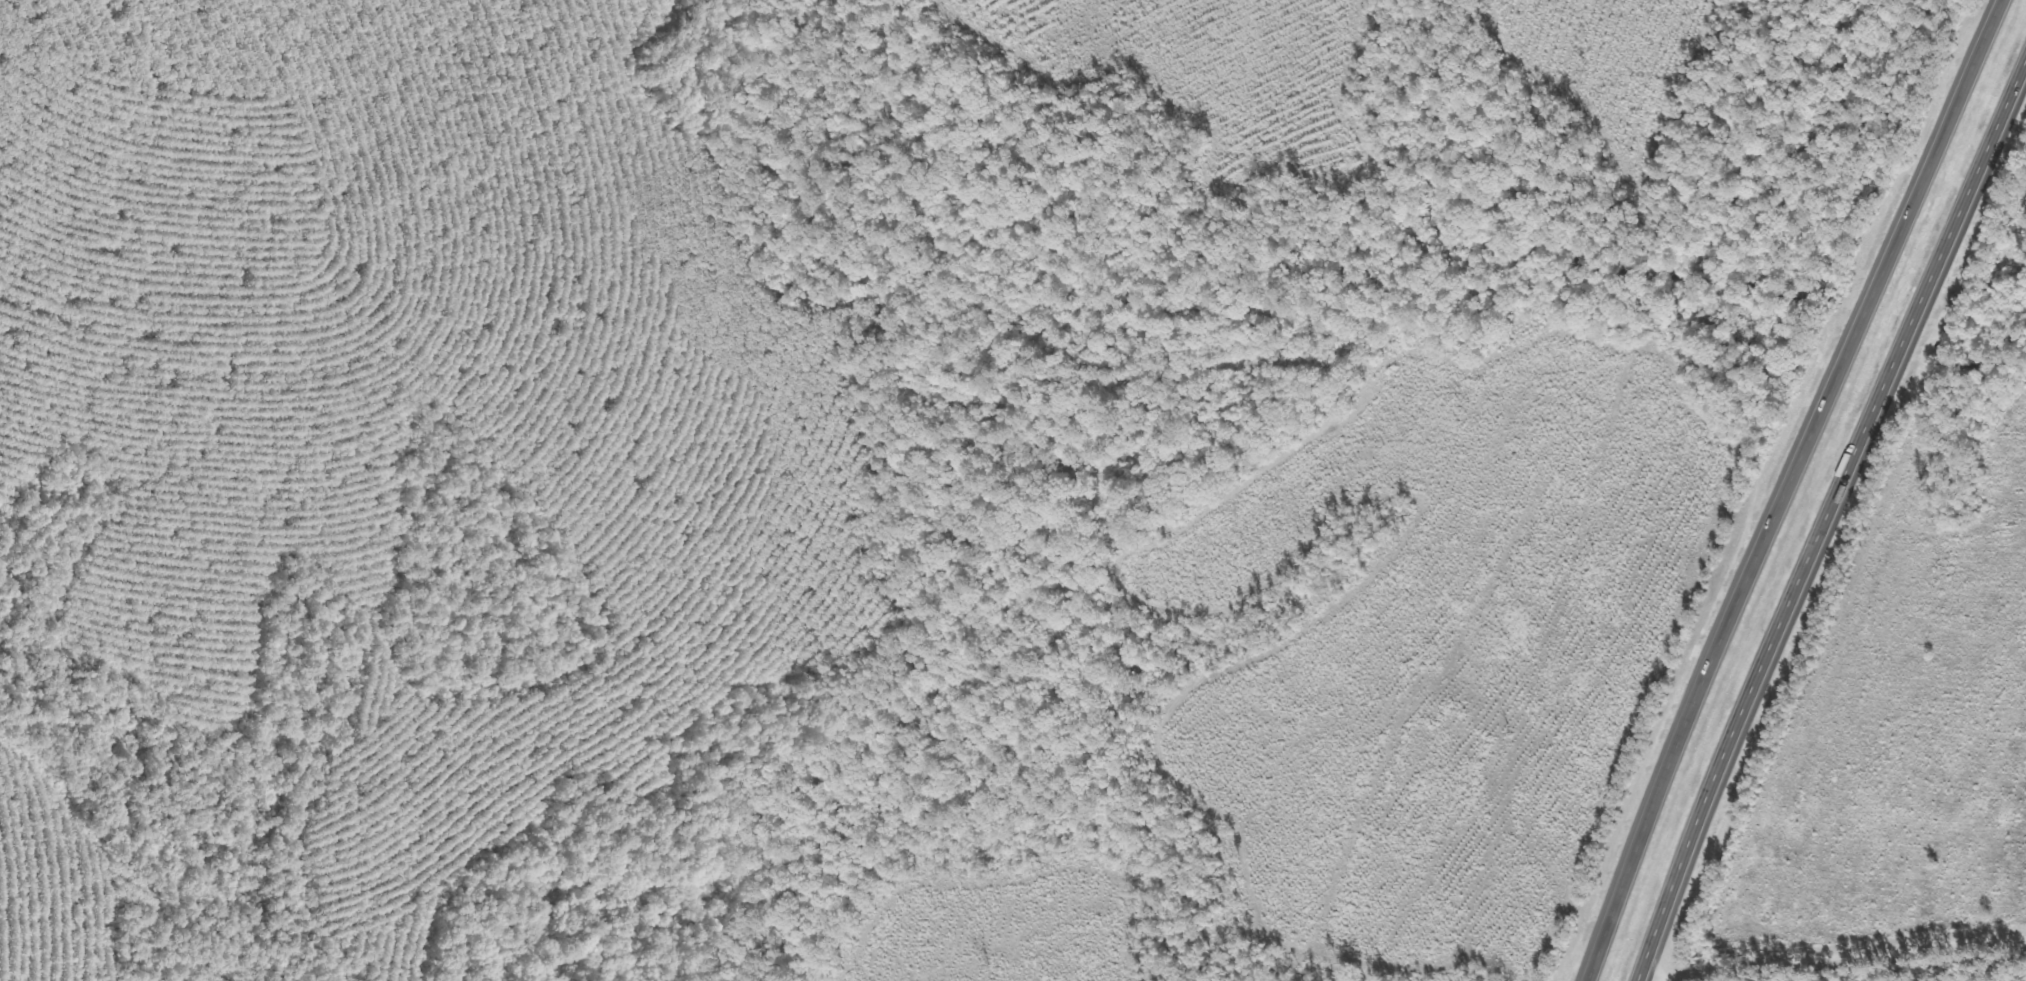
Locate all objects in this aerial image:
road: (1793, 488)
road: (1824, 519)
road: (1834, 958)

